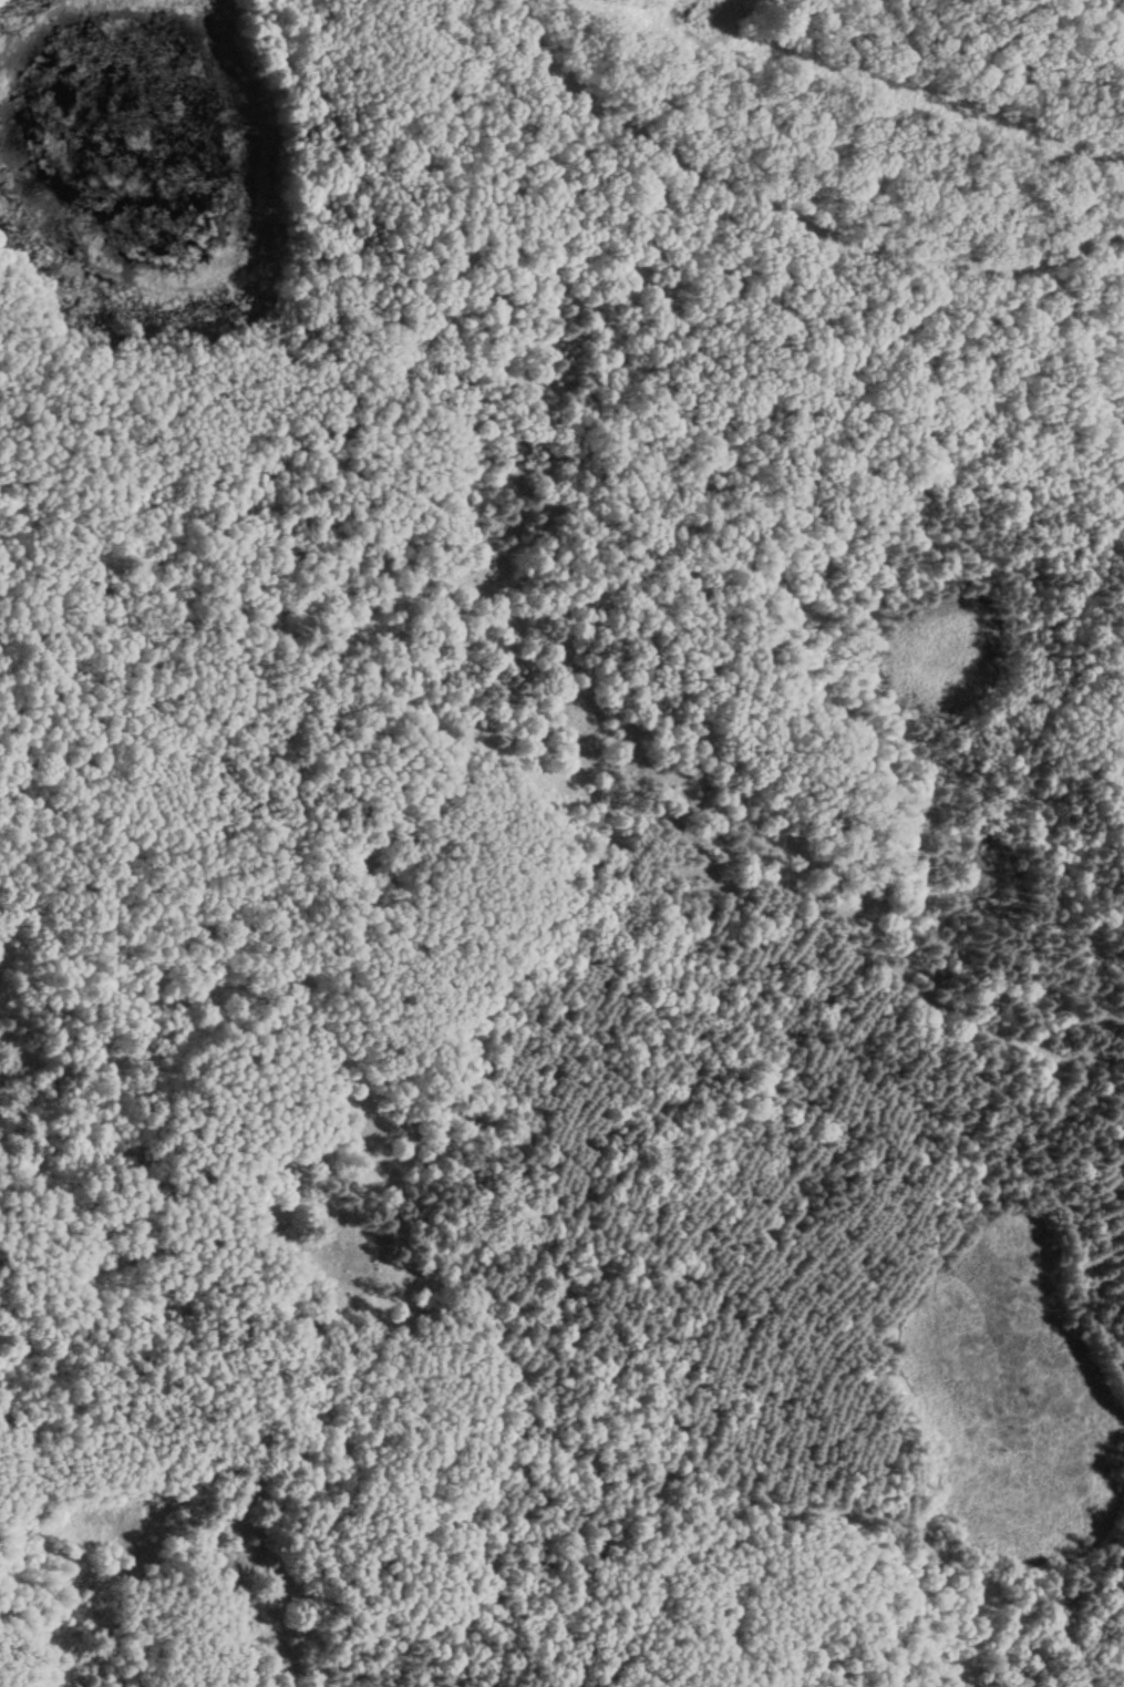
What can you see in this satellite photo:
road: (786, 219)
road: (535, 611)

